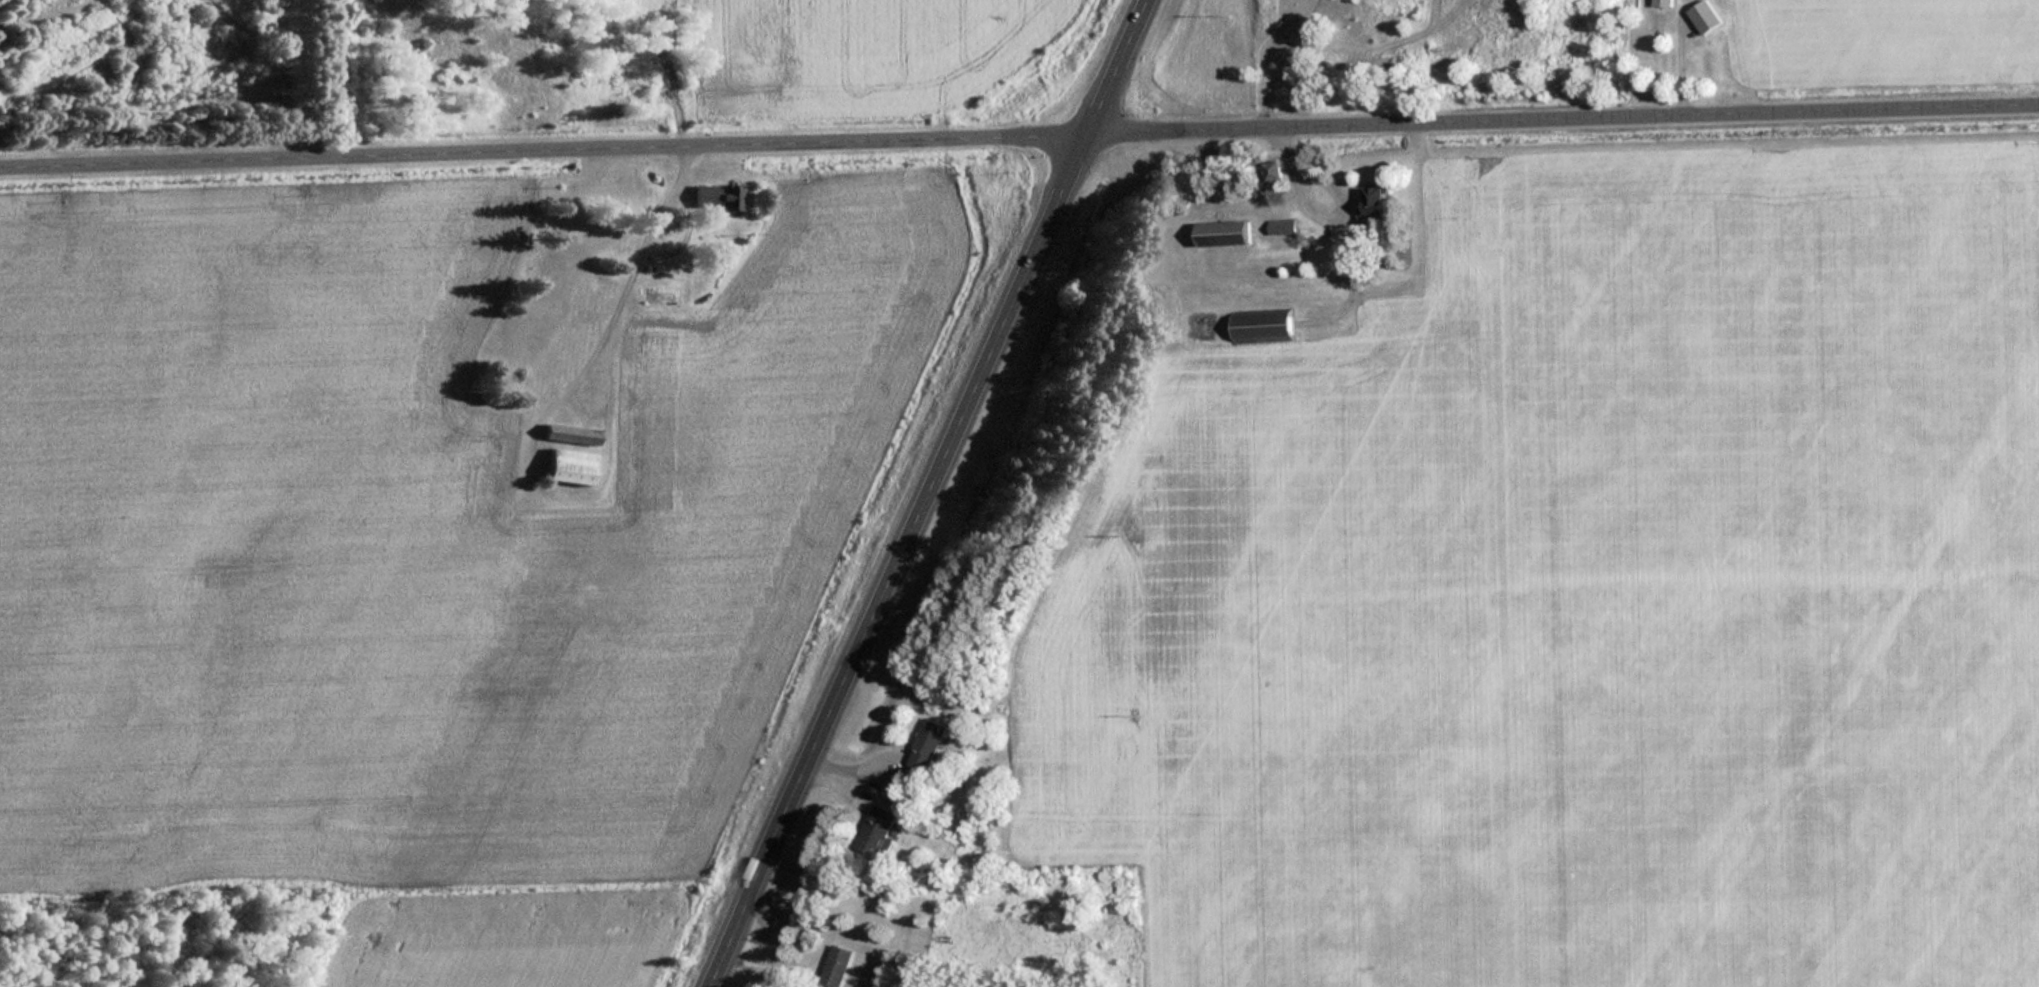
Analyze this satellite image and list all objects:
building: (1663, 3)
building: (1704, 17)
road: (1019, 133)
building: (1270, 171)
building: (716, 198)
building: (1373, 203)
building: (1222, 235)
building: (1261, 327)
building: (570, 435)
building: (569, 467)
road: (927, 489)
building: (927, 745)
building: (875, 831)
building: (837, 966)
road: (713, 983)

